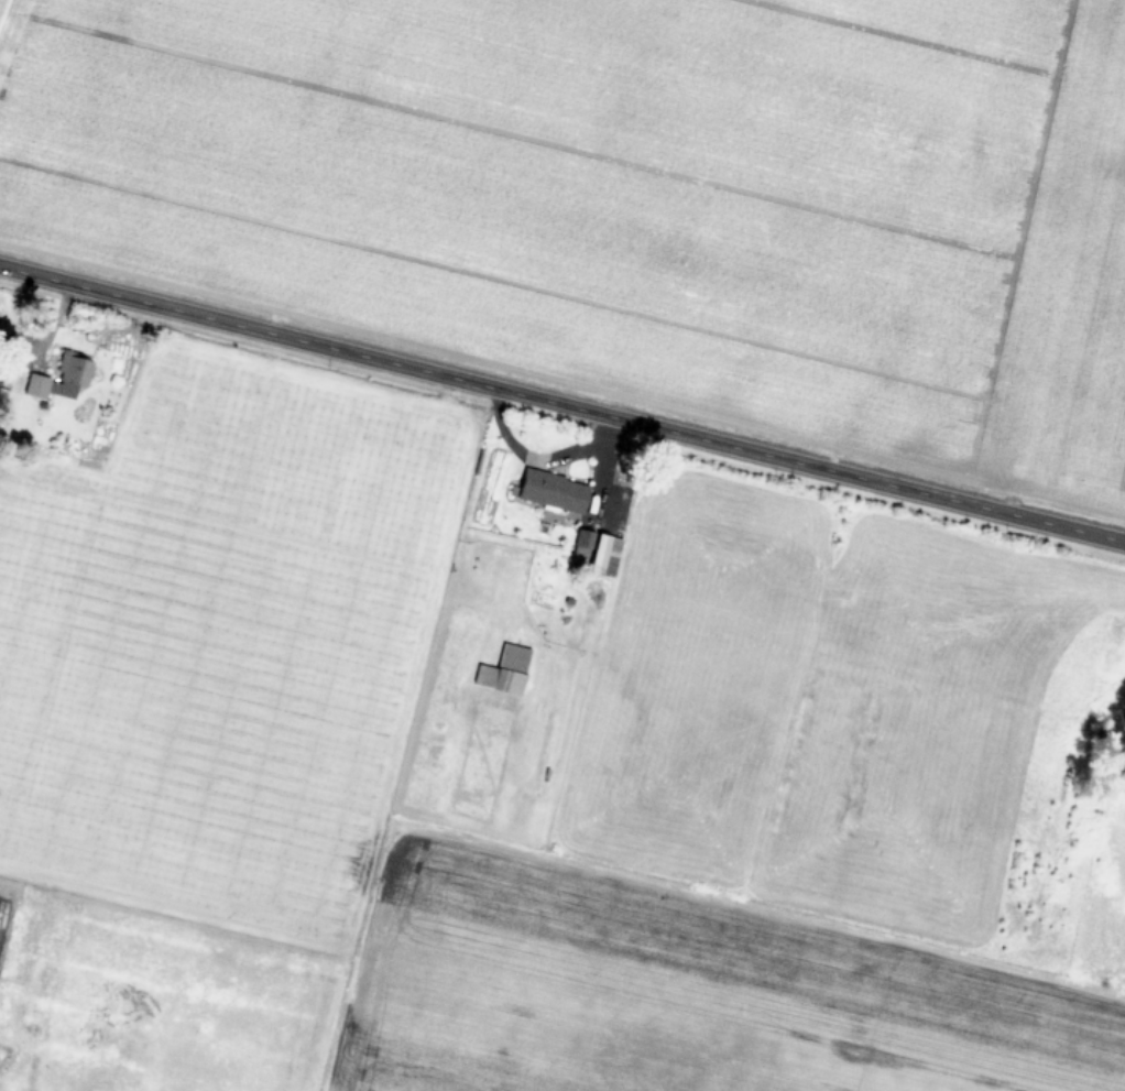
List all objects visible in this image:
building: (72, 372)
building: (36, 384)
road: (561, 403)
building: (553, 490)
crop: (562, 545)
building: (598, 550)
building: (505, 669)
building: (1105, 739)

